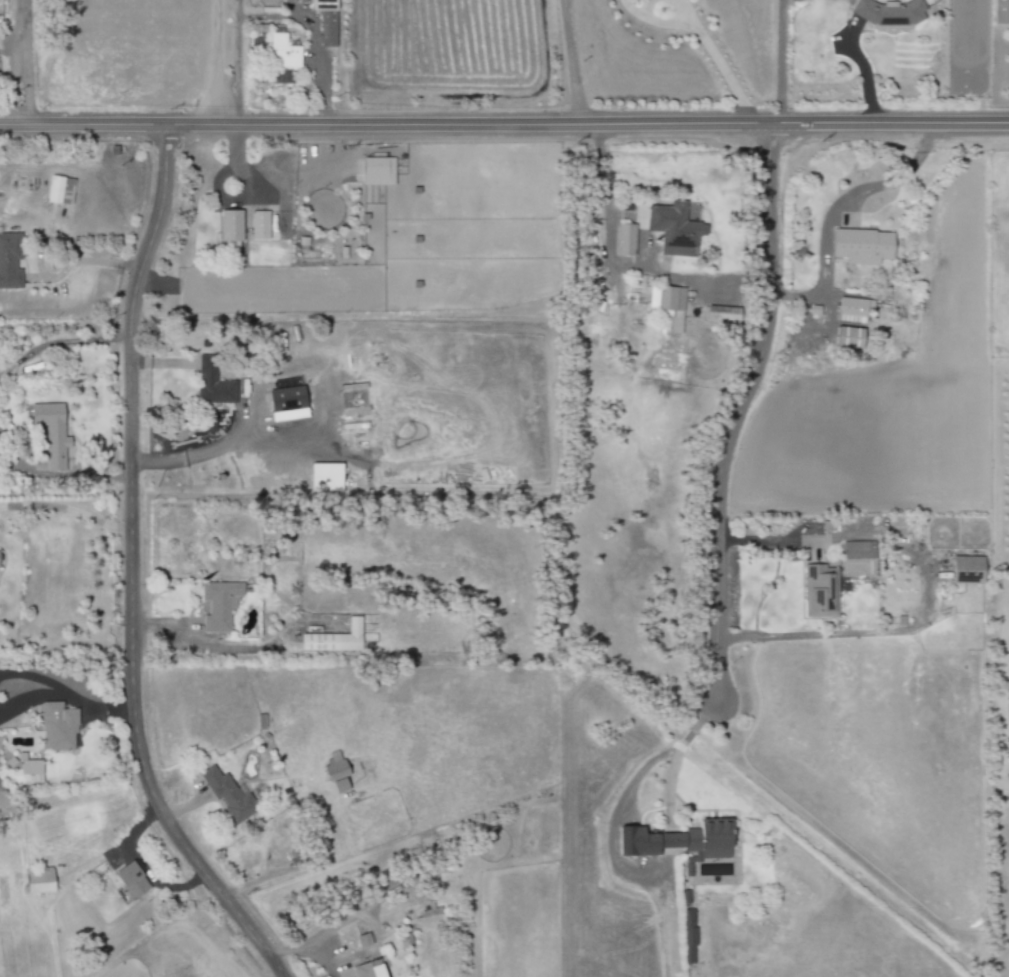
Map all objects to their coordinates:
building: (888, 12)
building: (999, 12)
building: (325, 21)
road: (313, 39)
road: (702, 39)
road: (236, 46)
building: (281, 52)
road: (780, 60)
road: (572, 61)
road: (27, 62)
road: (215, 63)
road: (504, 123)
building: (376, 171)
building: (59, 190)
road: (830, 213)
building: (258, 224)
building: (229, 228)
building: (672, 228)
building: (623, 239)
building: (860, 246)
building: (8, 261)
road: (618, 265)
road: (81, 266)
building: (716, 312)
building: (846, 338)
road: (58, 343)
building: (212, 387)
building: (352, 398)
building: (284, 399)
road: (739, 406)
building: (207, 425)
building: (49, 432)
road: (204, 451)
road: (56, 477)
building: (323, 477)
road: (67, 508)
road: (770, 541)
building: (851, 550)
building: (965, 569)
road: (130, 571)
building: (818, 591)
building: (217, 605)
road: (899, 630)
building: (333, 639)
road: (204, 649)
road: (32, 677)
road: (32, 699)
road: (95, 705)
building: (56, 727)
road: (679, 749)
building: (29, 768)
building: (334, 773)
building: (224, 793)
road: (183, 807)
building: (676, 840)
road: (141, 868)
building: (37, 880)
building: (128, 881)
building: (362, 939)
road: (306, 954)
building: (366, 969)

